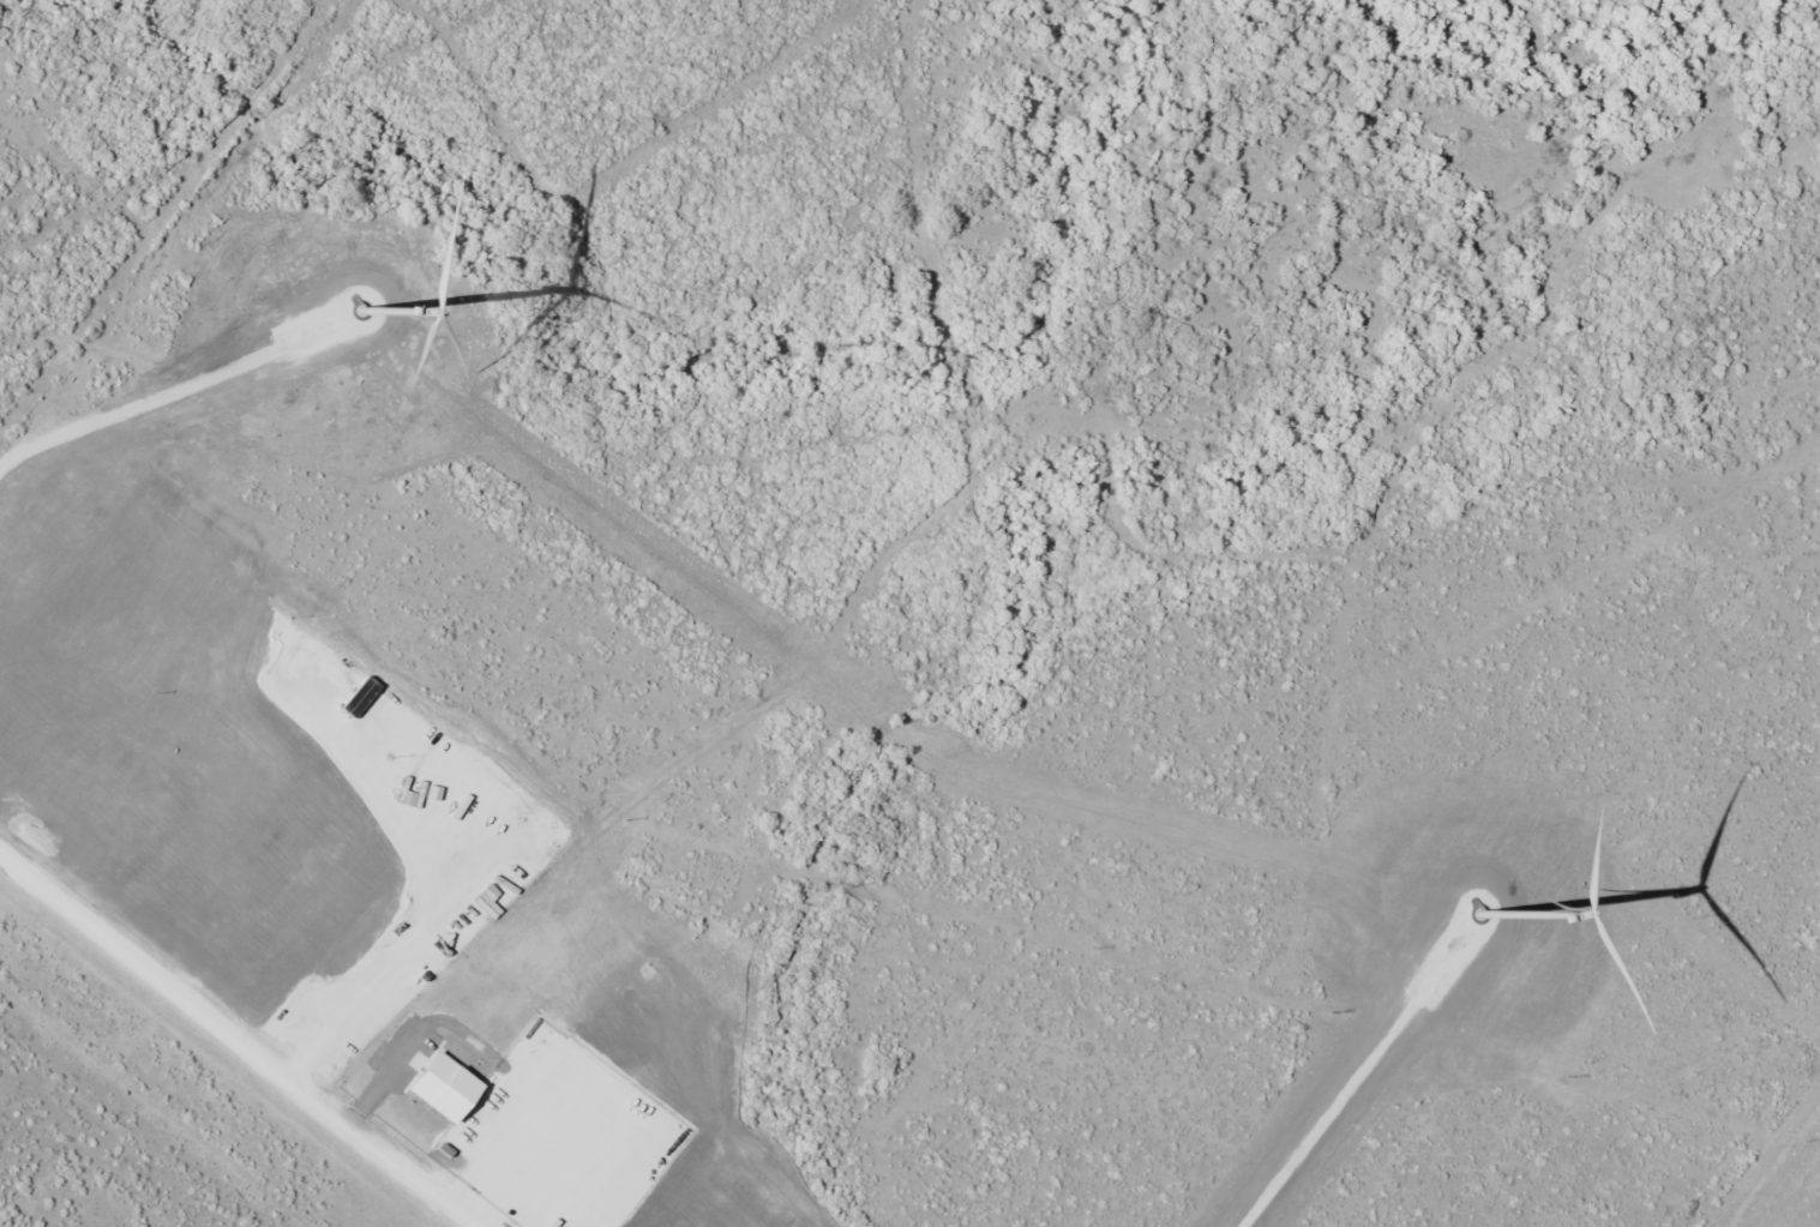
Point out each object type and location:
wind turbine: (356, 314)
wind turbine: (1476, 901)
road: (240, 1039)

